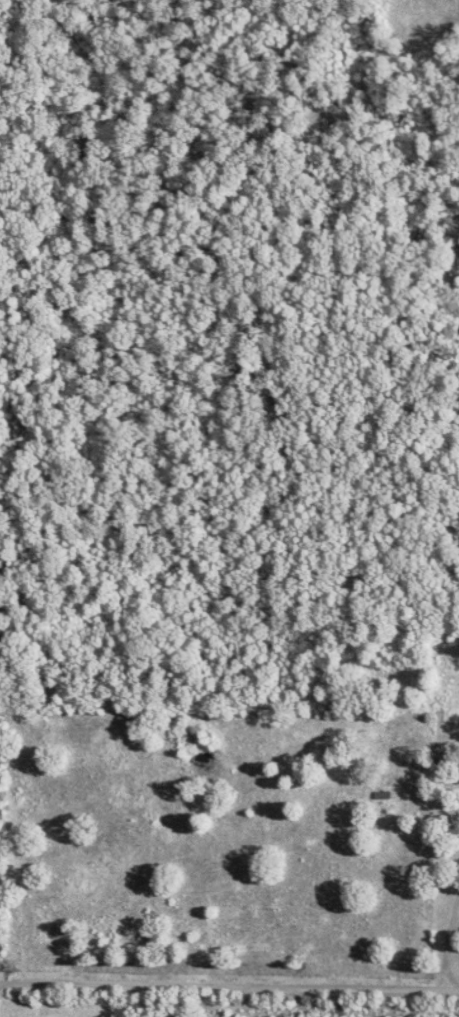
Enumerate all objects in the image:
road: (228, 985)

